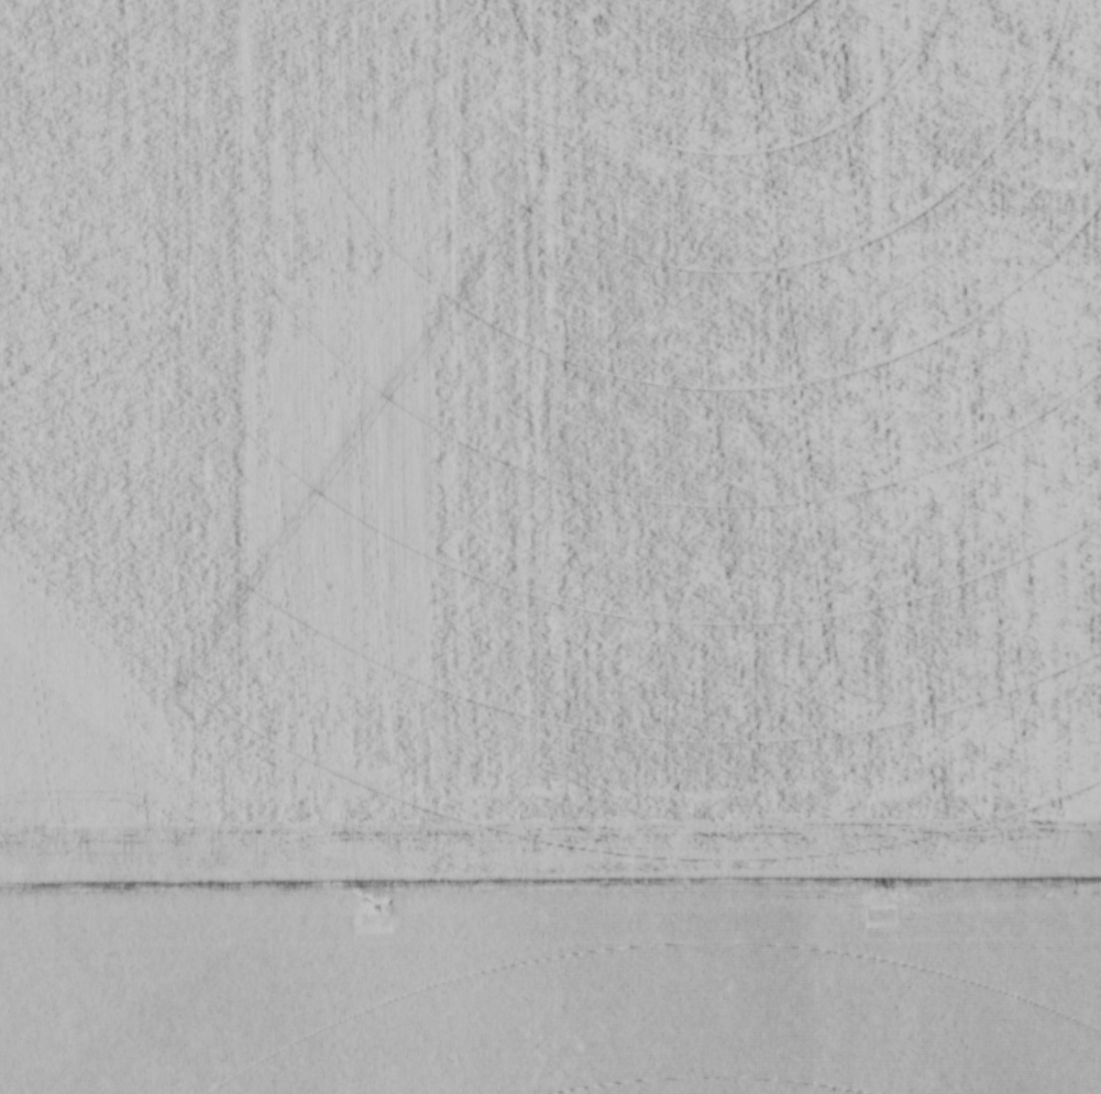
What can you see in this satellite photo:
crop: (550, 546)

